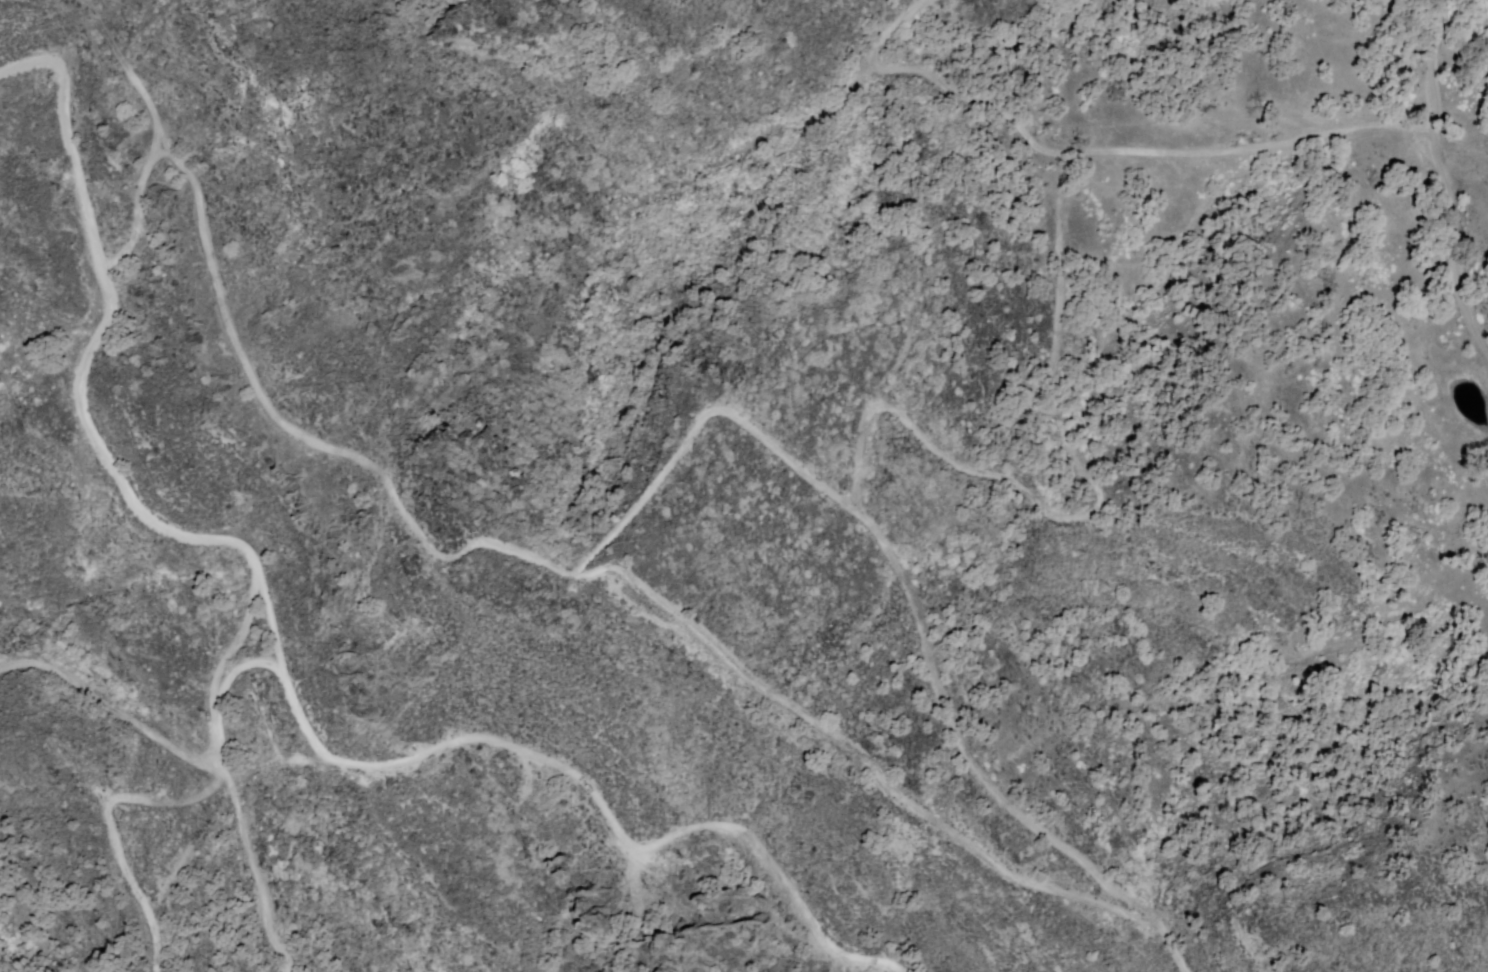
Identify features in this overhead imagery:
road: (1447, 181)
road: (277, 682)

